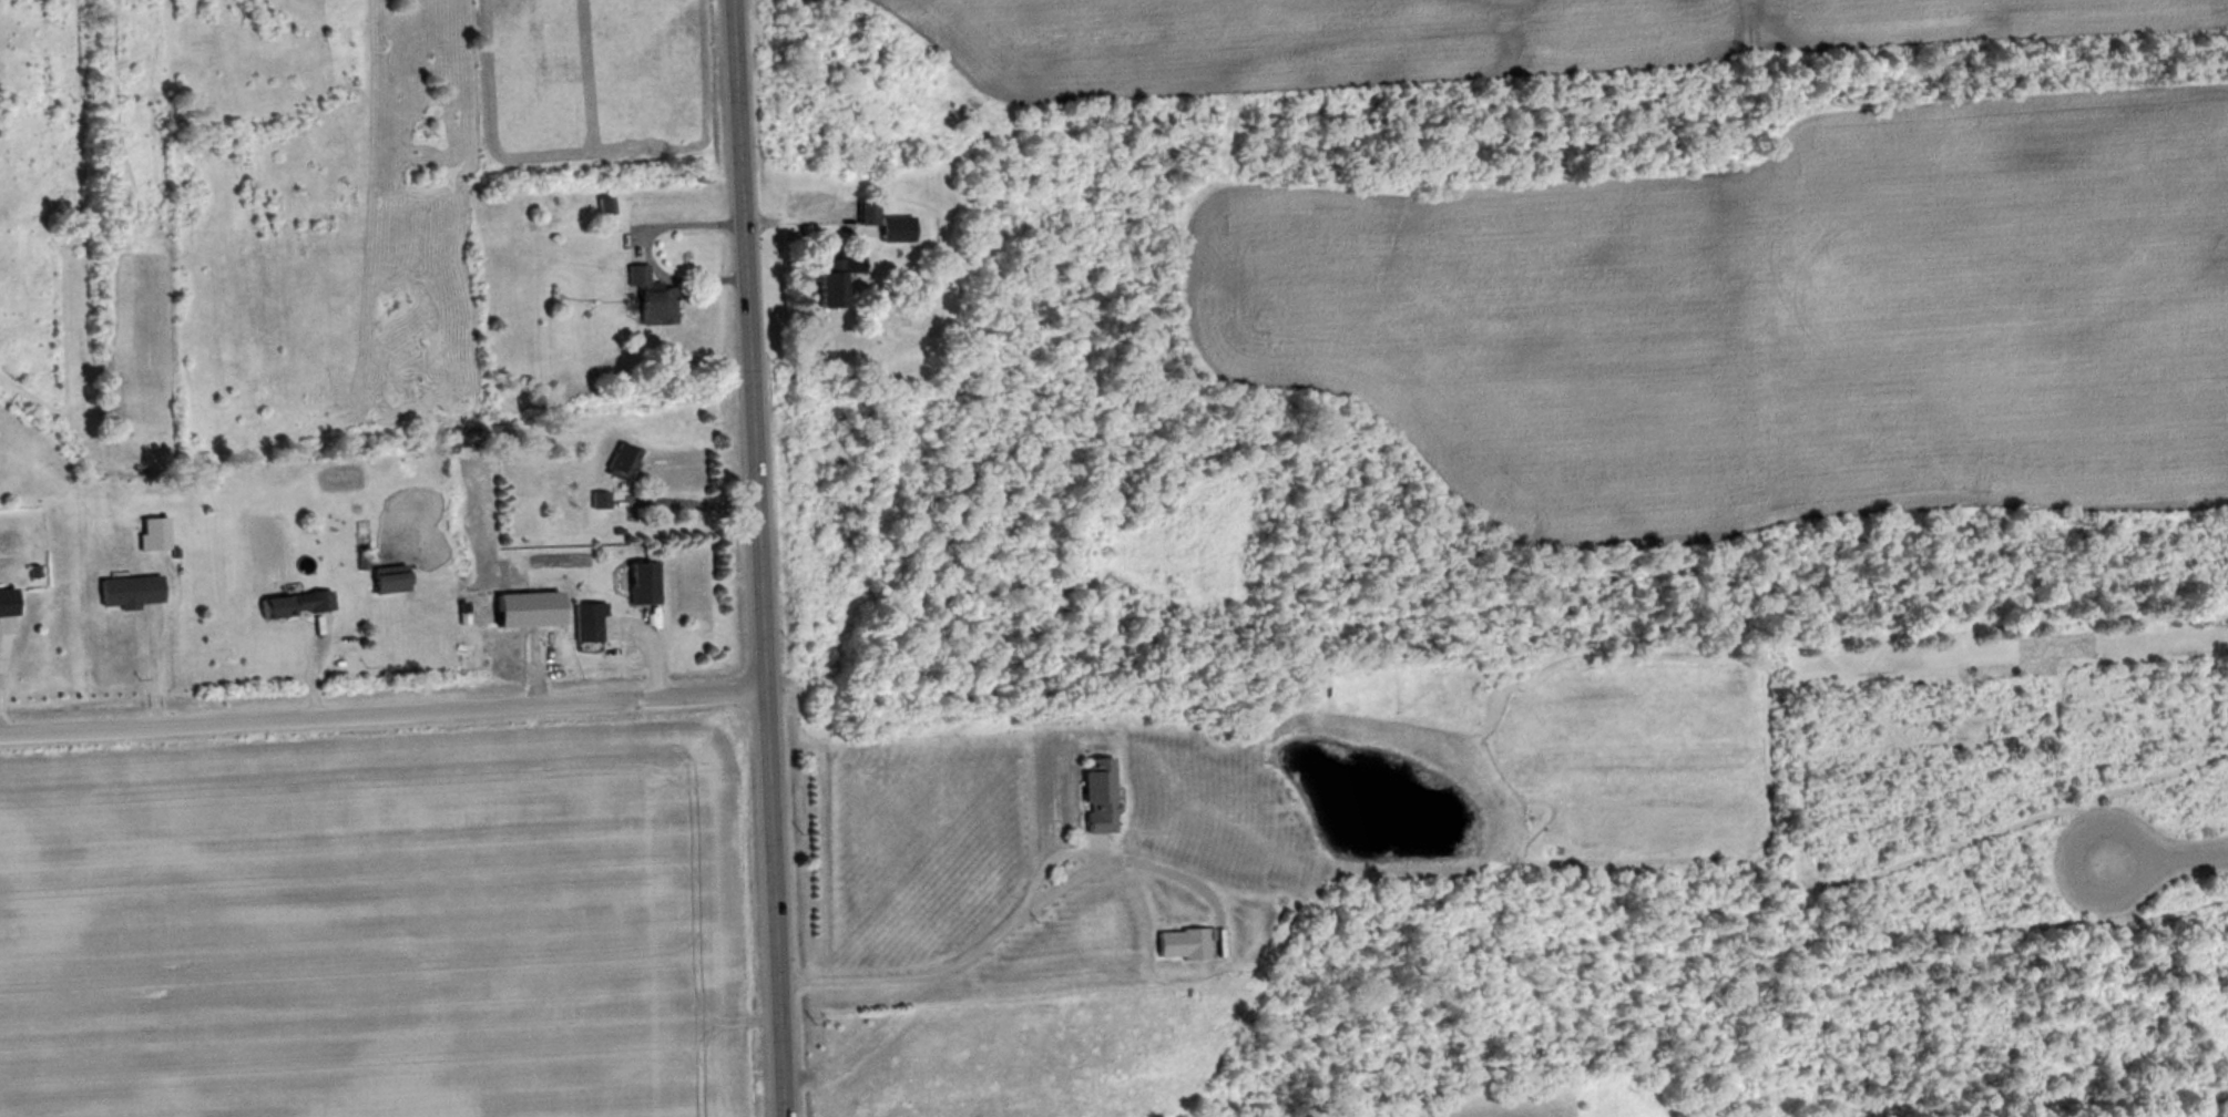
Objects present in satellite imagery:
building: (604, 208)
building: (808, 211)
building: (868, 215)
road: (647, 252)
building: (830, 283)
building: (650, 300)
building: (622, 464)
road: (755, 557)
building: (389, 582)
building: (641, 585)
building: (129, 594)
building: (296, 606)
building: (7, 607)
building: (587, 628)
road: (3, 633)
road: (380, 709)
building: (1098, 798)
road: (2194, 850)
road: (2072, 860)
road: (998, 940)
building: (1183, 946)

